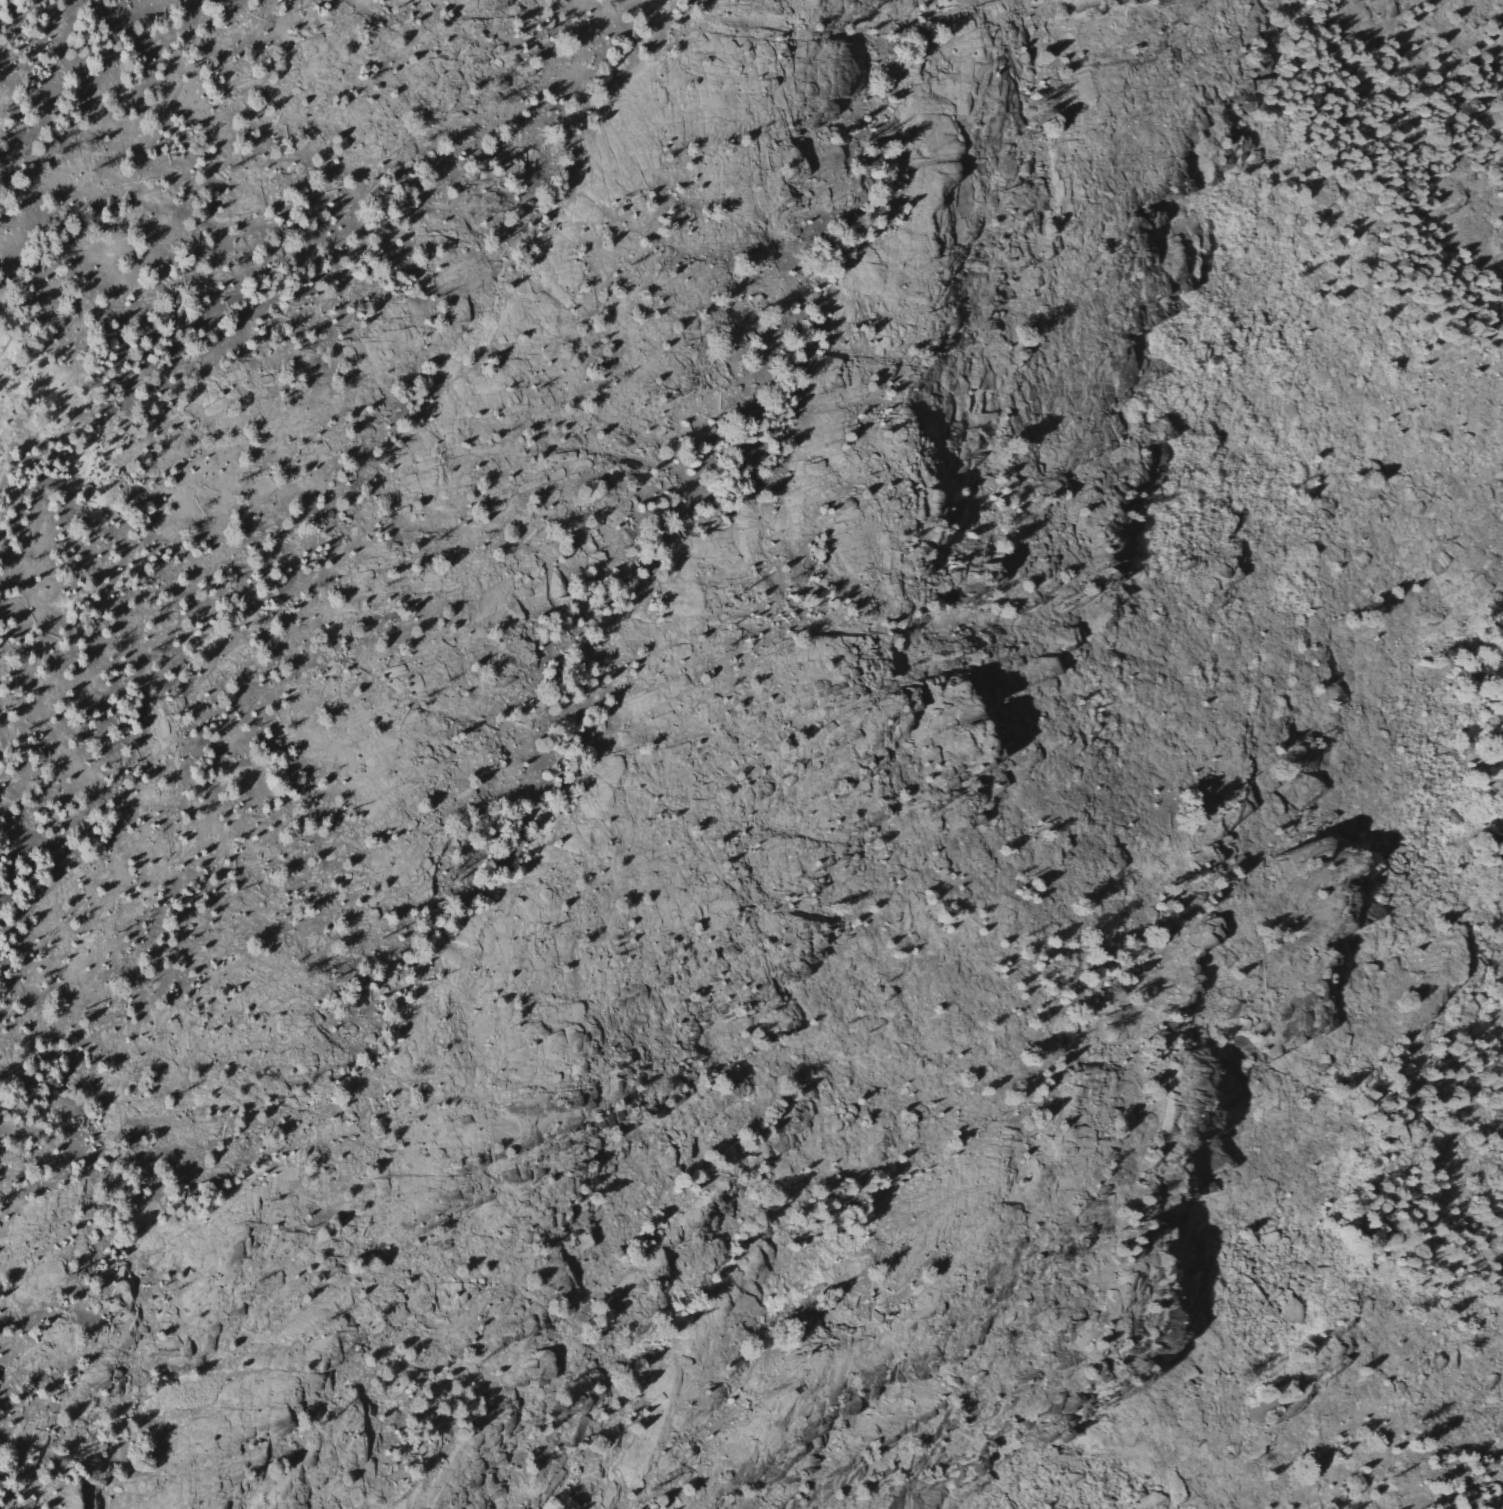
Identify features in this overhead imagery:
road: (81, 178)

